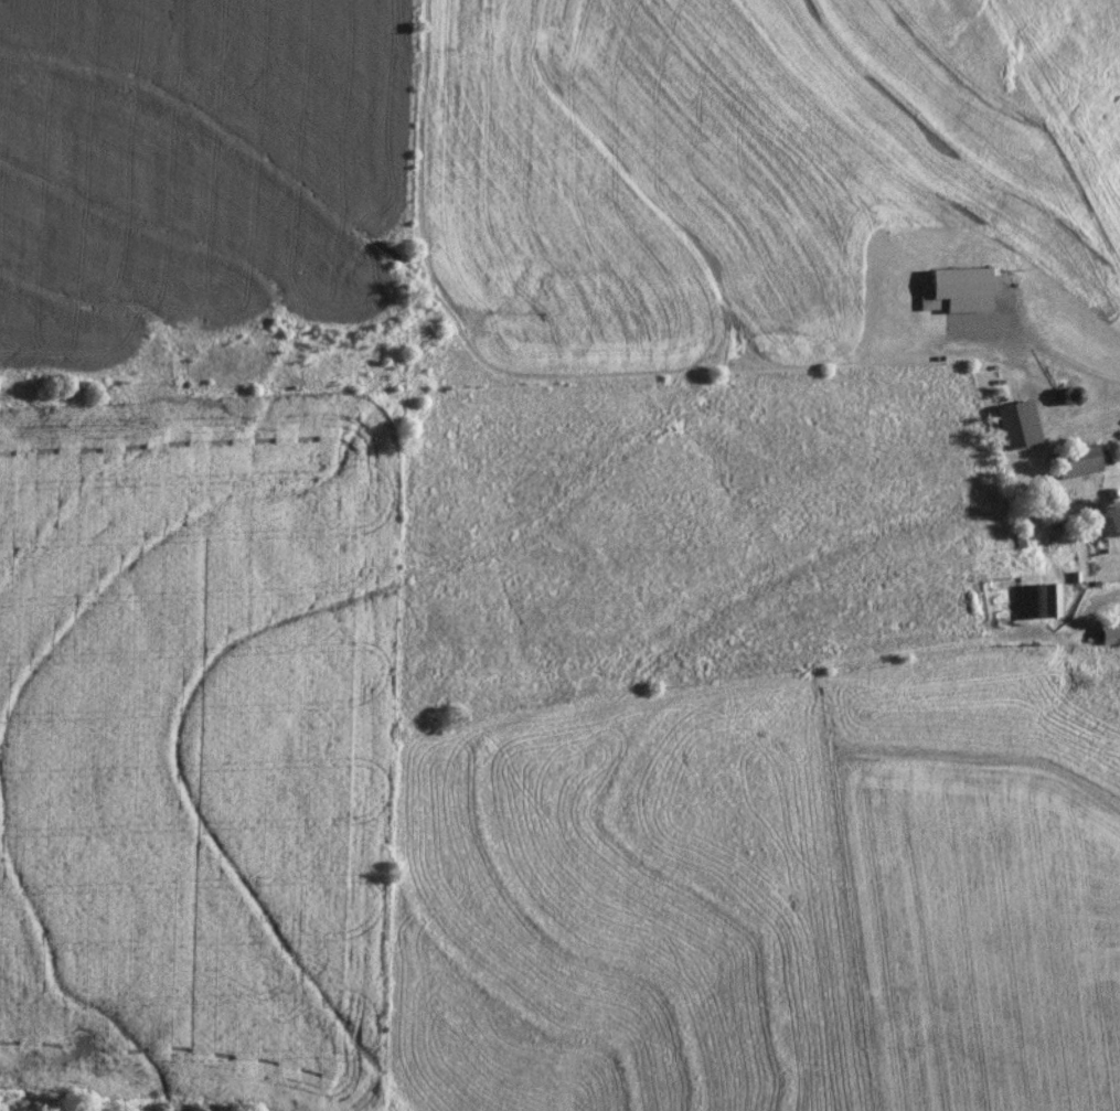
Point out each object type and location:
building: (1017, 427)
building: (1076, 463)
building: (1038, 602)
building: (1109, 633)

